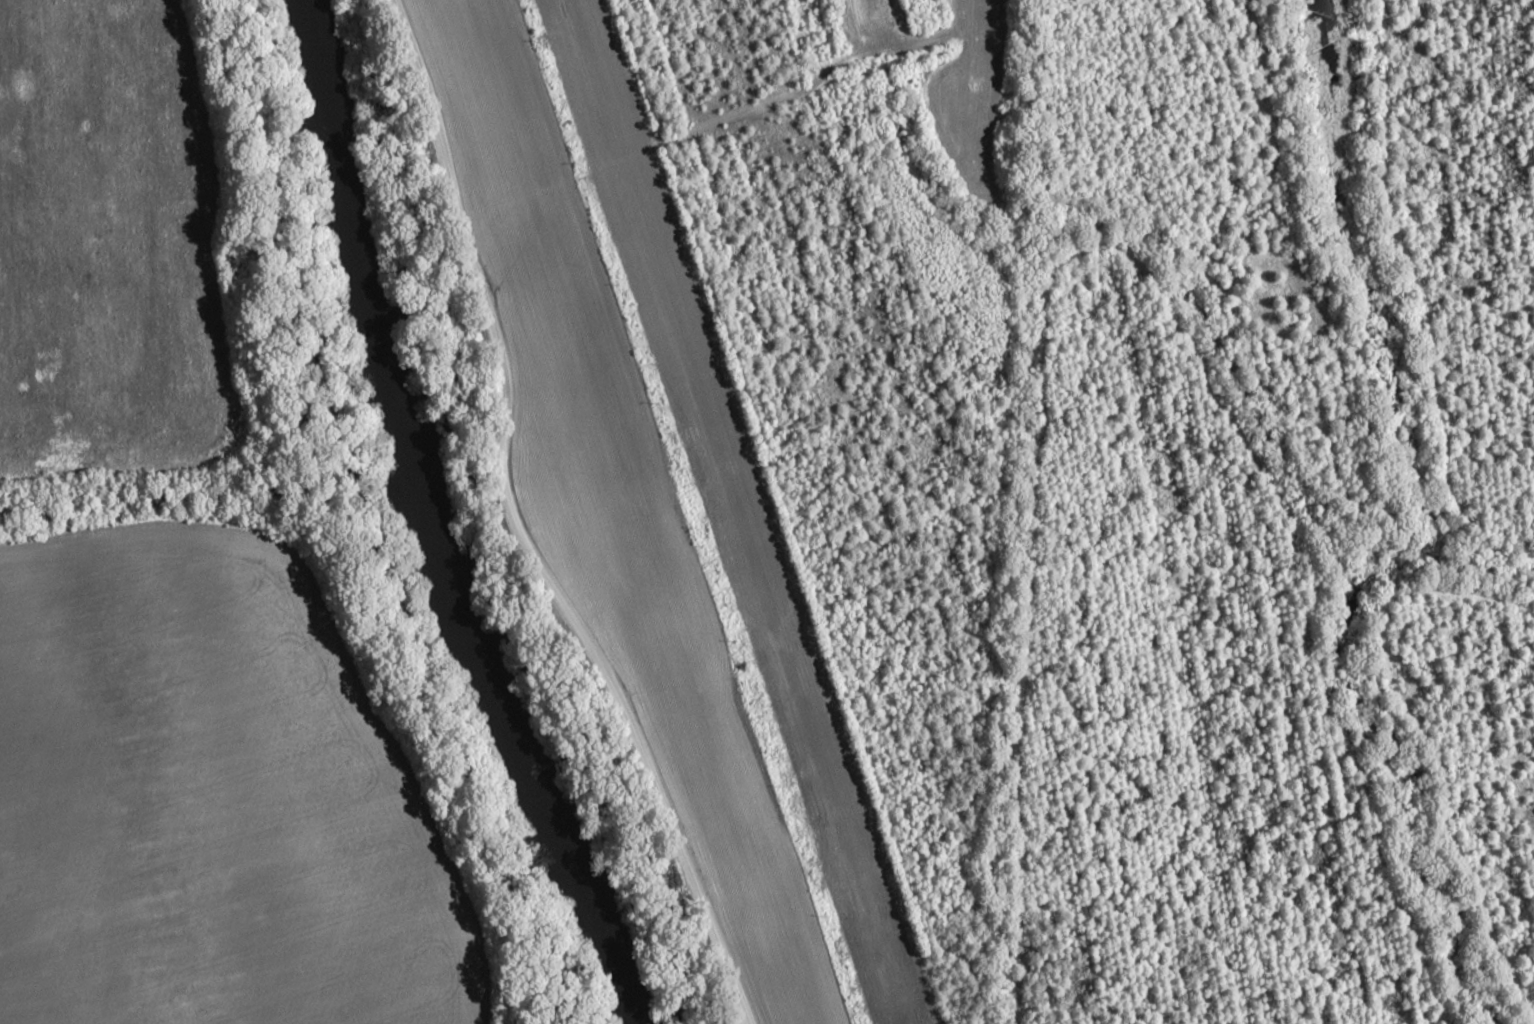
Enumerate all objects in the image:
road: (659, 144)
river: (428, 525)
road: (513, 529)

